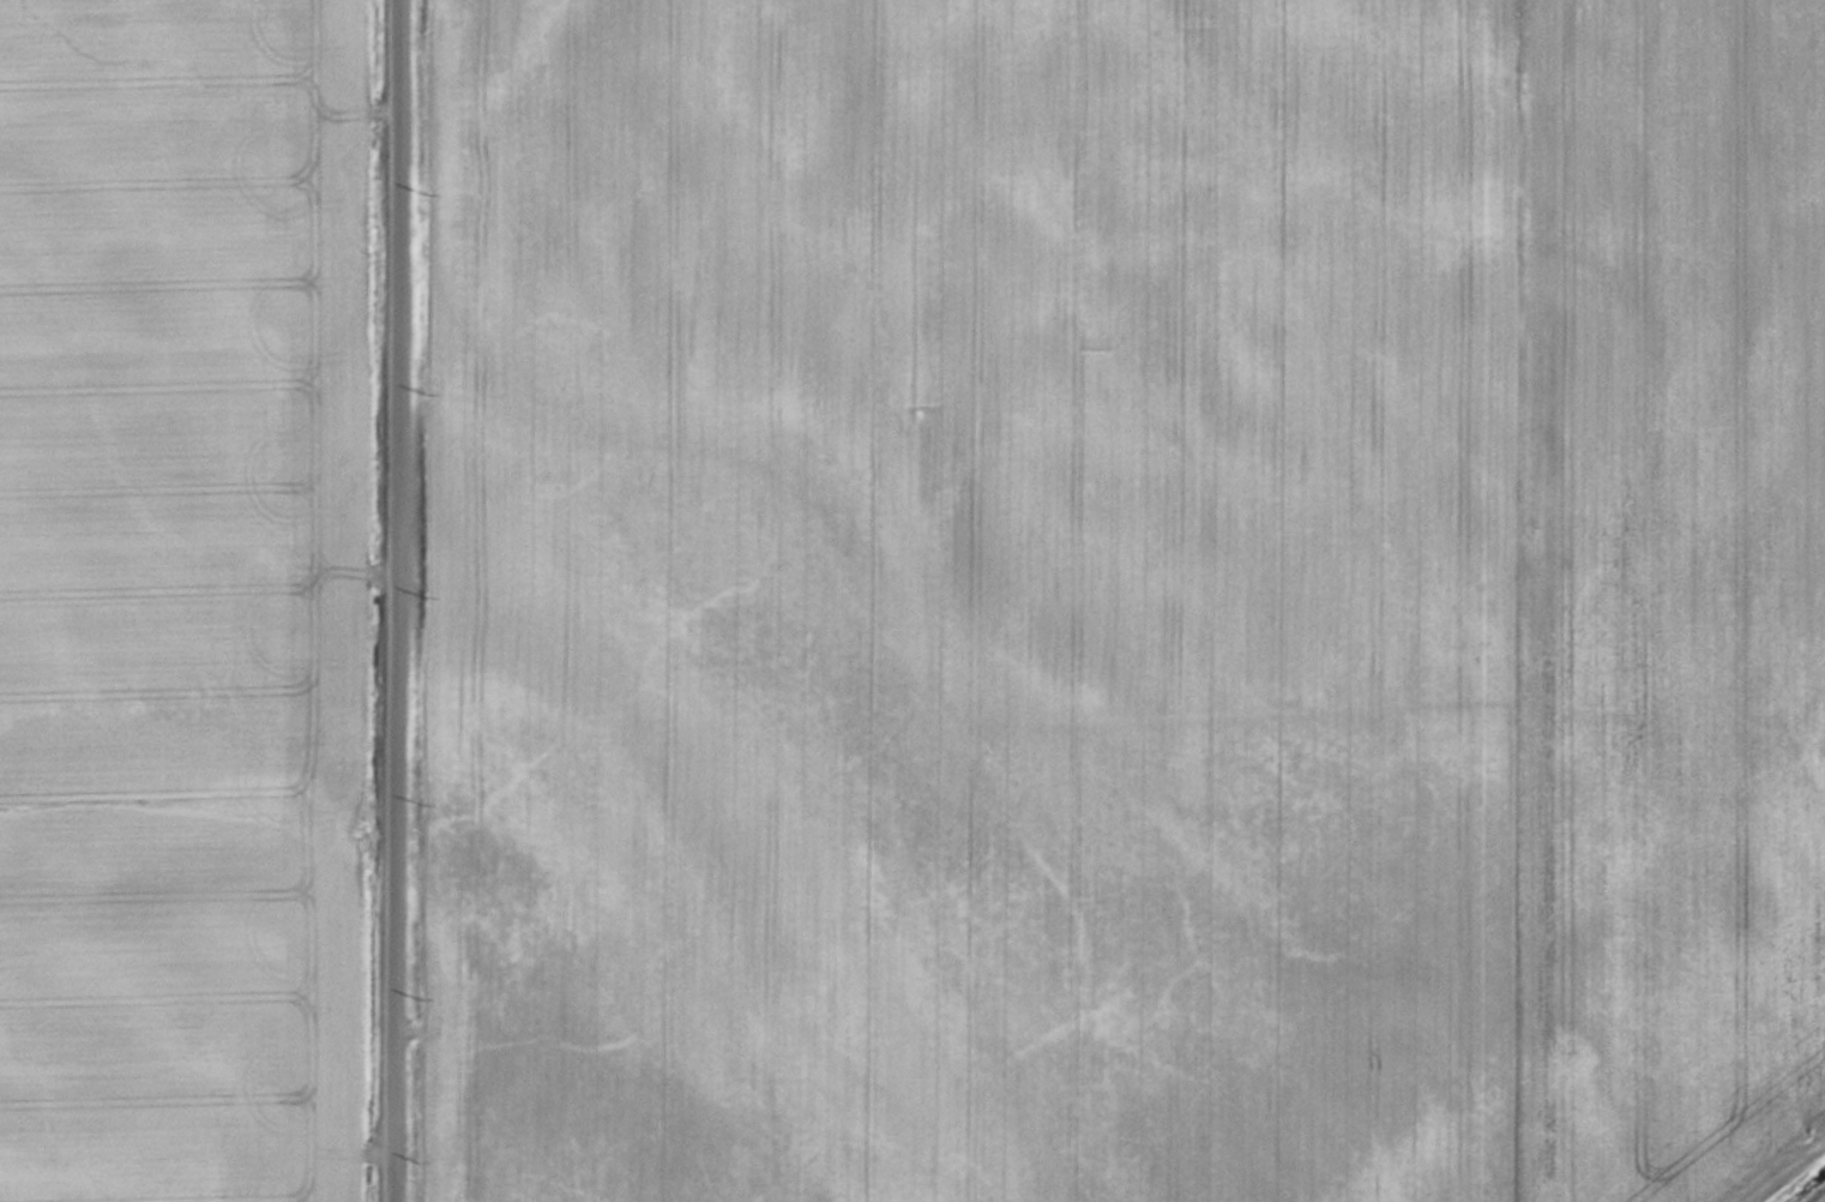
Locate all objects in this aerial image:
road: (392, 601)

